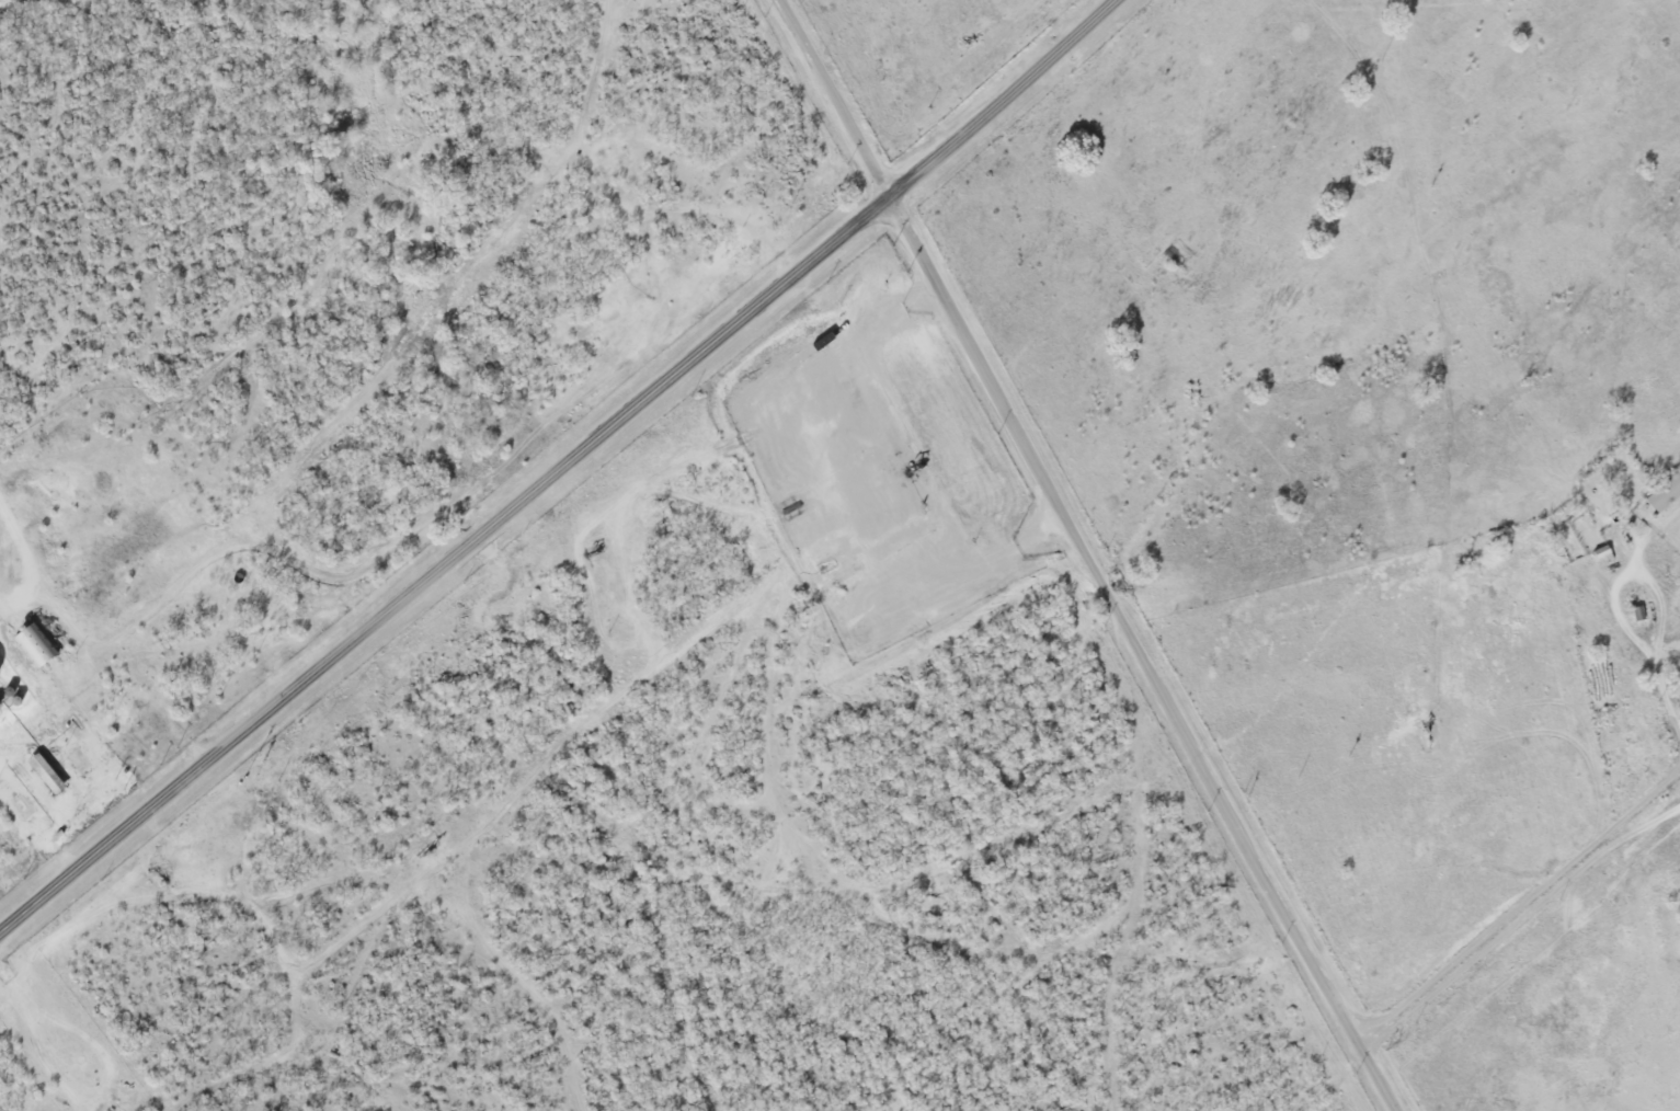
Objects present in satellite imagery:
road: (561, 469)
petroleum well: (914, 469)
building: (1665, 492)
road: (1096, 554)
road: (990, 562)
road: (1628, 574)
road: (3, 605)
building: (35, 644)
building: (1679, 675)
road: (1666, 697)
building: (46, 774)
road: (1633, 809)
road: (1513, 908)

